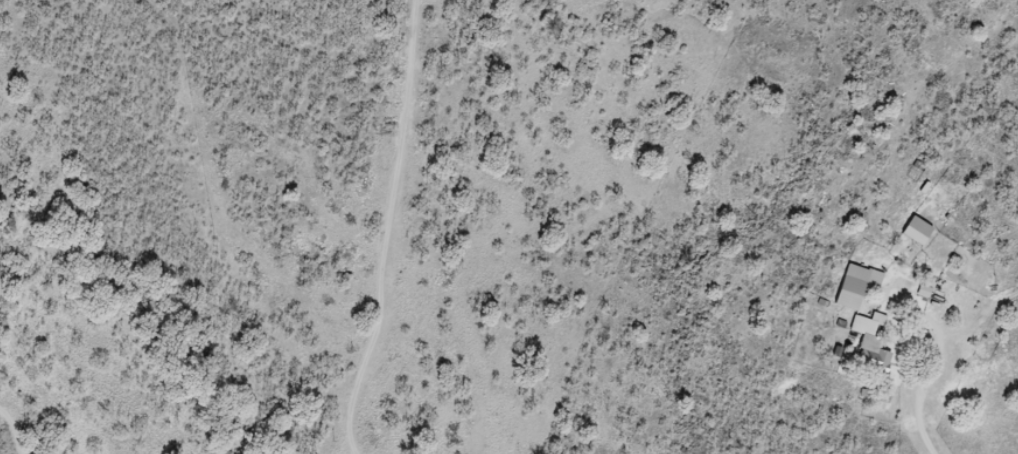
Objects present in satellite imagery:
building: (919, 230)
road: (378, 237)
building: (859, 285)
building: (872, 344)
road: (0, 453)

